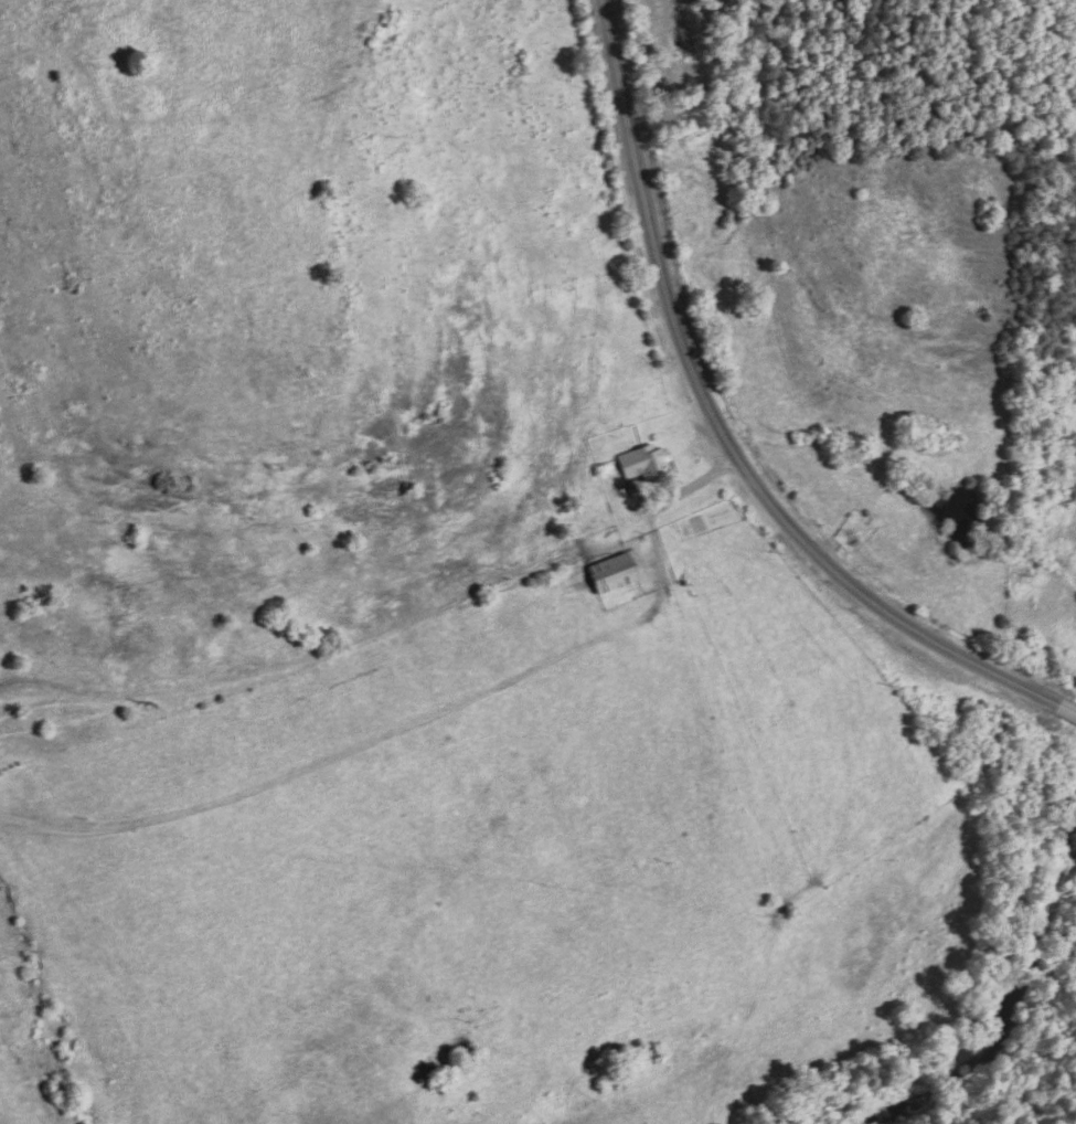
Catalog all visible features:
road: (727, 435)
building: (641, 460)
building: (615, 572)

